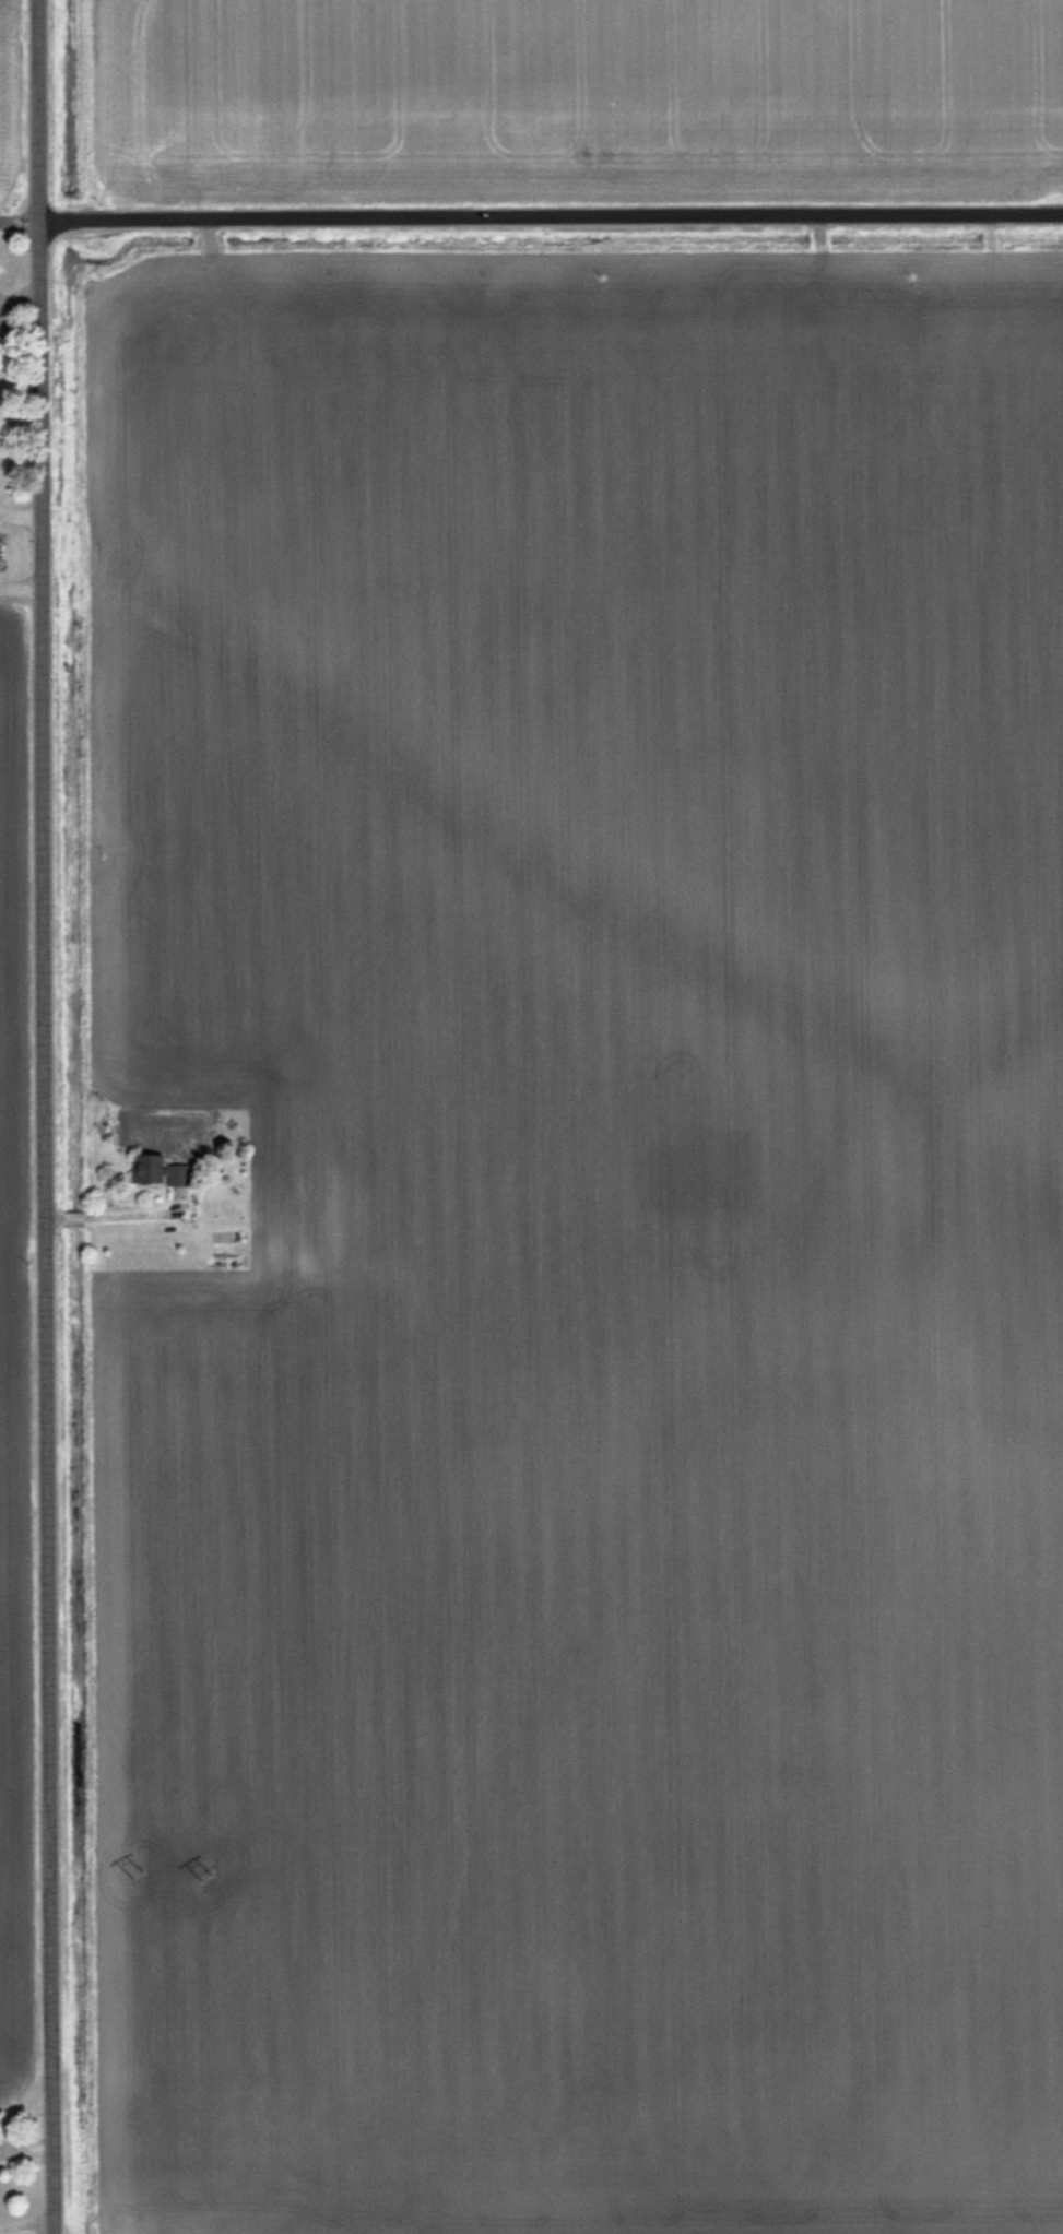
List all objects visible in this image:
road: (555, 222)
road: (24, 228)
road: (54, 1116)
building: (156, 1170)
power tower: (202, 1871)
power tower: (133, 1889)

